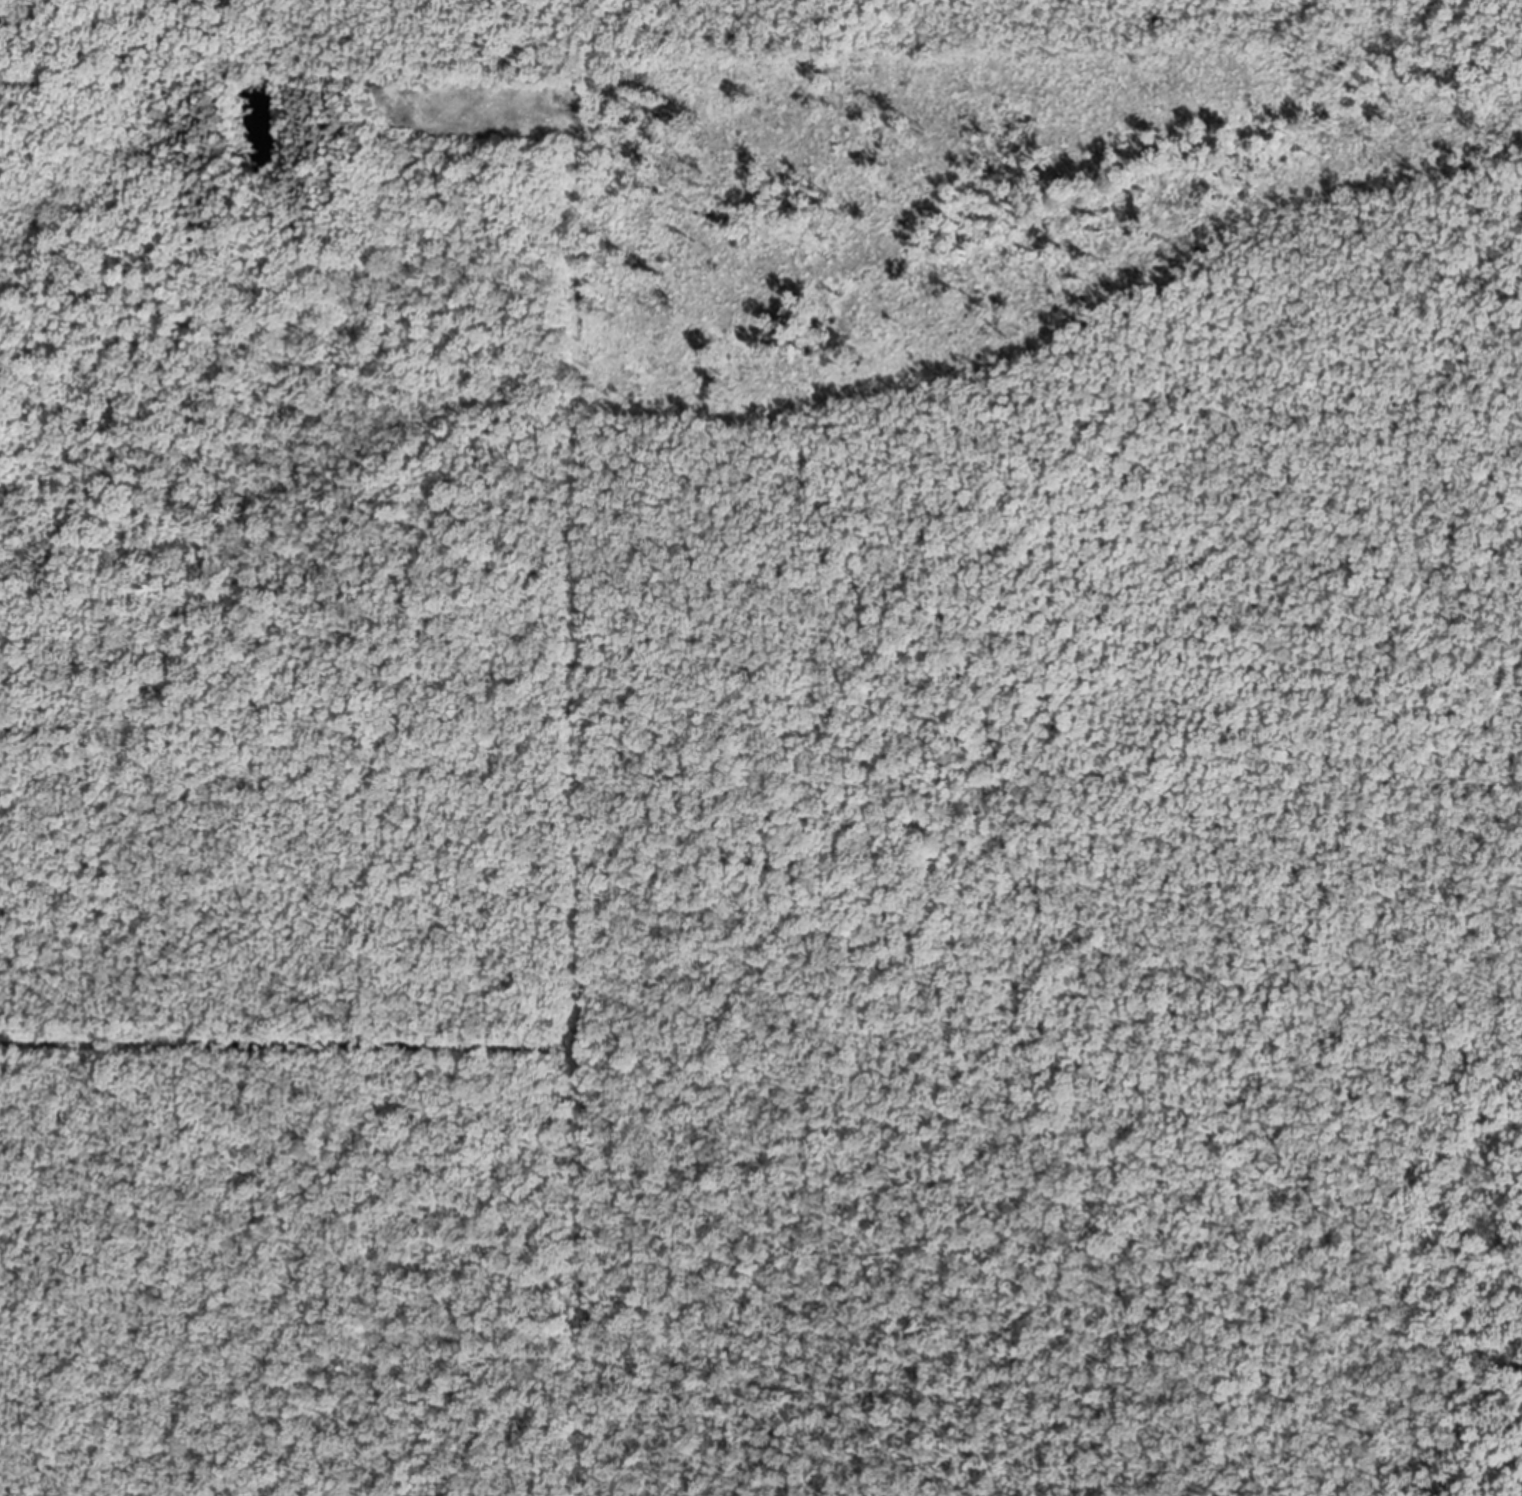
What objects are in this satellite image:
road: (1513, 1476)

